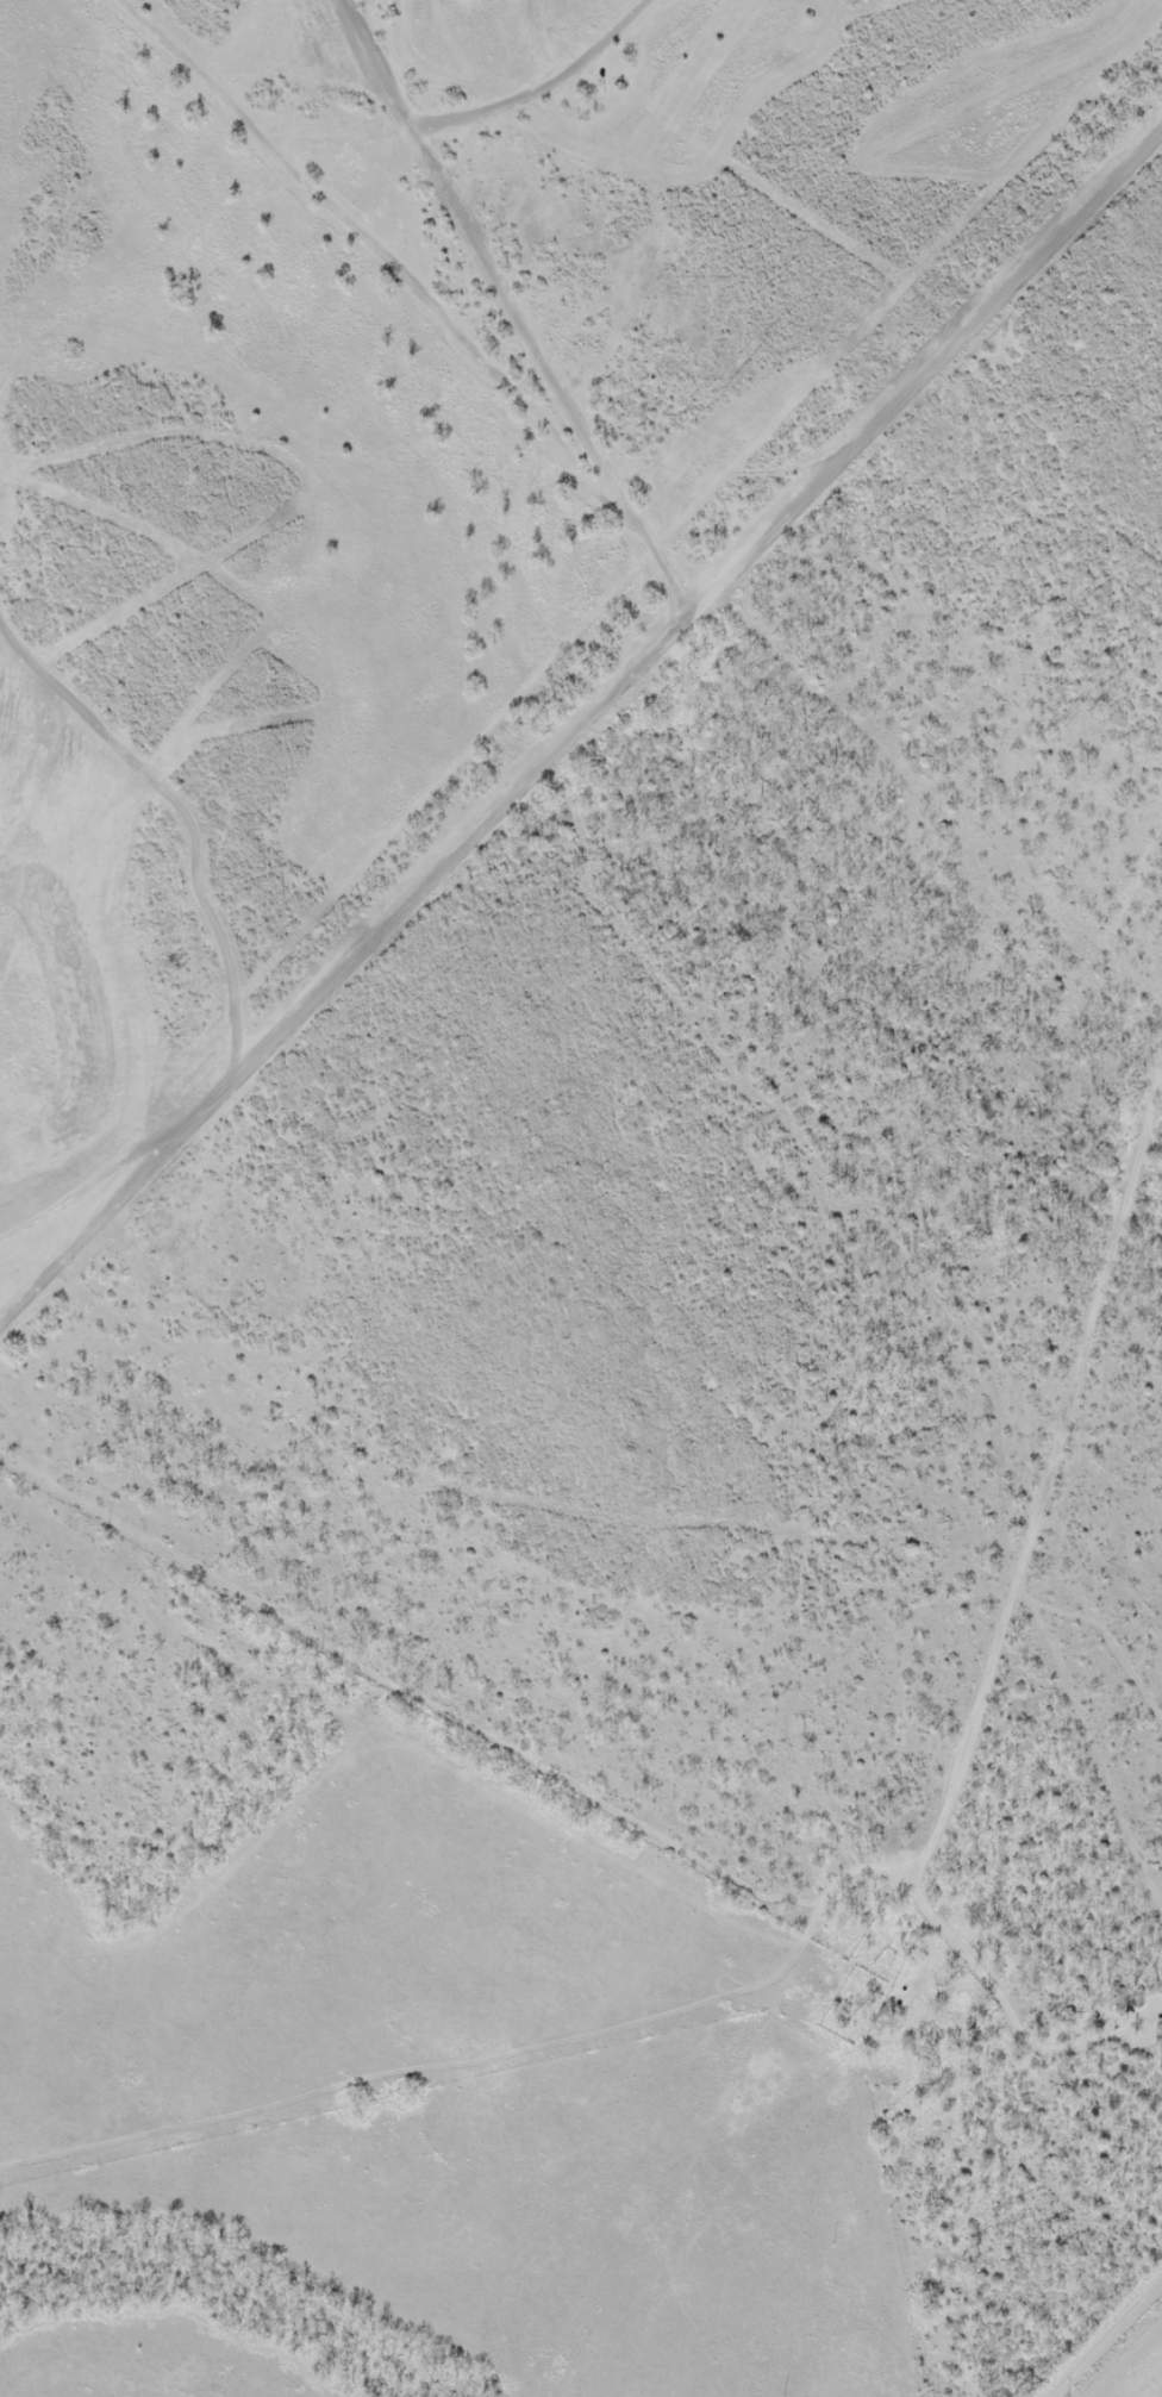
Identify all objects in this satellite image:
road: (517, 392)
road: (585, 735)
road: (1014, 1372)
road: (986, 2198)
road: (1092, 2323)

